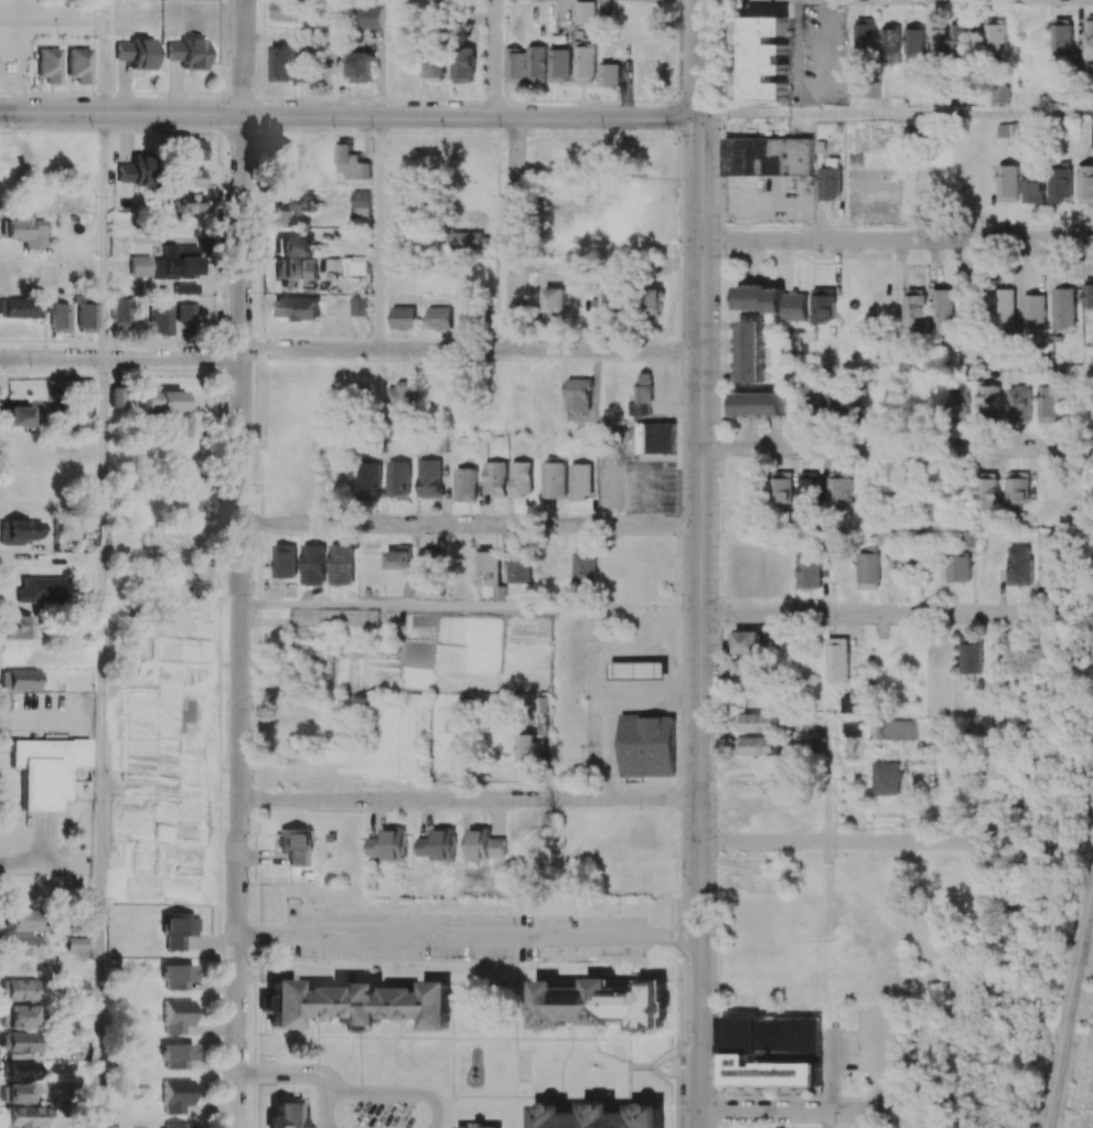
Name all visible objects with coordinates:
building: (287, 10)
road: (104, 11)
building: (585, 12)
building: (369, 17)
road: (52, 22)
building: (1089, 34)
building: (864, 36)
building: (995, 36)
building: (1062, 36)
building: (960, 40)
building: (937, 43)
building: (890, 45)
building: (914, 45)
street lamp: (256, 49)
building: (136, 53)
building: (186, 54)
road: (243, 57)
road: (403, 58)
road: (493, 58)
building: (763, 58)
building: (280, 63)
building: (301, 63)
building: (536, 63)
building: (432, 64)
building: (463, 64)
building: (583, 64)
building: (49, 65)
building: (79, 65)
building: (331, 65)
building: (558, 65)
building: (361, 66)
building: (514, 66)
building: (609, 75)
building: (1000, 94)
street lamp: (157, 95)
street lamp: (387, 103)
road: (896, 113)
road: (349, 116)
traffic signals: (699, 117)
street lamp: (6, 129)
street lamp: (259, 129)
street lamp: (668, 130)
building: (1092, 130)
building: (1008, 131)
building: (191, 150)
building: (769, 157)
building: (351, 163)
building: (133, 172)
building: (190, 178)
building: (829, 182)
building: (1007, 183)
building: (1060, 183)
building: (1085, 183)
building: (1032, 185)
building: (190, 203)
building: (293, 203)
building: (360, 206)
street lamp: (792, 227)
building: (25, 231)
road: (378, 233)
road: (515, 233)
road: (104, 236)
road: (897, 240)
building: (474, 241)
building: (293, 246)
street lamp: (675, 256)
building: (169, 264)
building: (296, 268)
building: (185, 289)
building: (1087, 292)
building: (555, 301)
building: (654, 301)
building: (772, 301)
building: (823, 305)
building: (360, 306)
building: (24, 307)
building: (1063, 307)
building: (298, 308)
street lamp: (720, 308)
building: (914, 308)
building: (942, 308)
building: (1004, 309)
building: (1033, 311)
building: (120, 312)
building: (187, 312)
building: (85, 317)
building: (403, 317)
building: (58, 318)
building: (439, 318)
building: (160, 319)
street lamp: (353, 339)
street lamp: (181, 348)
road: (471, 349)
building: (749, 351)
road: (120, 359)
street lamp: (254, 362)
street lamp: (33, 369)
building: (578, 395)
building: (641, 396)
building: (116, 397)
building: (839, 400)
building: (162, 401)
building: (398, 401)
street lamp: (678, 402)
building: (810, 402)
building: (988, 402)
building: (957, 403)
building: (1048, 403)
building: (758, 404)
building: (1018, 404)
building: (15, 415)
street lamp: (253, 437)
building: (654, 437)
road: (896, 448)
street lamp: (799, 459)
building: (398, 478)
building: (429, 478)
building: (494, 478)
building: (521, 478)
street lamp: (719, 478)
building: (368, 480)
building: (554, 480)
building: (580, 481)
building: (465, 483)
building: (781, 488)
building: (1017, 489)
building: (807, 491)
building: (988, 491)
building: (839, 492)
street lamp: (253, 507)
street lamp: (416, 513)
street lamp: (325, 515)
street lamp: (615, 515)
road: (469, 523)
building: (20, 531)
street lamp: (510, 535)
building: (893, 540)
street lamp: (679, 554)
building: (398, 560)
building: (285, 561)
road: (699, 563)
building: (312, 564)
building: (341, 564)
building: (1019, 565)
building: (585, 566)
building: (427, 567)
building: (487, 567)
building: (518, 567)
building: (868, 568)
building: (958, 568)
building: (1051, 570)
building: (808, 571)
building: (901, 571)
street lamp: (254, 594)
street lamp: (795, 603)
road: (468, 604)
street lamp: (653, 613)
road: (874, 613)
road: (237, 620)
street lamp: (977, 625)
building: (18, 627)
street lamp: (718, 629)
building: (744, 642)
building: (969, 655)
building: (837, 658)
building: (637, 670)
building: (744, 671)
building: (20, 680)
street lamp: (96, 698)
road: (609, 698)
street lamp: (582, 700)
street lamp: (678, 704)
building: (848, 704)
street lamp: (249, 707)
road: (43, 720)
building: (757, 722)
building: (851, 728)
building: (892, 730)
road: (100, 743)
building: (646, 745)
building: (757, 745)
road: (805, 746)
building: (528, 748)
road: (995, 764)
building: (46, 768)
road: (827, 775)
building: (885, 778)
street lamp: (717, 779)
street lamp: (249, 783)
street lamp: (425, 788)
street lamp: (518, 789)
road: (906, 791)
road: (393, 797)
road: (623, 798)
street lamp: (314, 805)
street lamp: (639, 808)
street lamp: (11, 819)
street lamp: (919, 830)
road: (39, 837)
road: (837, 842)
building: (296, 844)
building: (386, 844)
building: (437, 844)
building: (484, 844)
street lamp: (722, 855)
road: (42, 864)
street lamp: (248, 884)
street lamp: (315, 909)
street lamp: (417, 911)
street lamp: (517, 912)
street lamp: (618, 912)
building: (22, 921)
building: (176, 929)
road: (465, 935)
building: (76, 944)
building: (22, 945)
street lamp: (718, 945)
street lamp: (315, 962)
street lamp: (419, 964)
street lamp: (619, 965)
street lamp: (249, 966)
street lamp: (519, 966)
building: (176, 976)
road: (282, 977)
road: (969, 978)
building: (74, 989)
building: (20, 990)
building: (360, 1003)
building: (598, 1004)
railway: (1070, 1004)
building: (176, 1015)
building: (19, 1017)
street lamp: (832, 1030)
building: (18, 1042)
building: (738, 1050)
street lamp: (674, 1051)
street lamp: (856, 1052)
building: (176, 1056)
street lamp: (247, 1056)
road: (879, 1061)
building: (18, 1071)
road: (832, 1071)
road: (287, 1073)
street lamp: (395, 1082)
road: (378, 1093)
building: (15, 1094)
building: (176, 1096)
street lamp: (903, 1096)
building: (285, 1113)
road: (821, 1113)
street lamp: (351, 1114)
street lamp: (308, 1115)
building: (601, 1116)
road: (825, 1120)
street lamp: (763, 1122)
building: (175, 1125)
building: (479, 1126)

